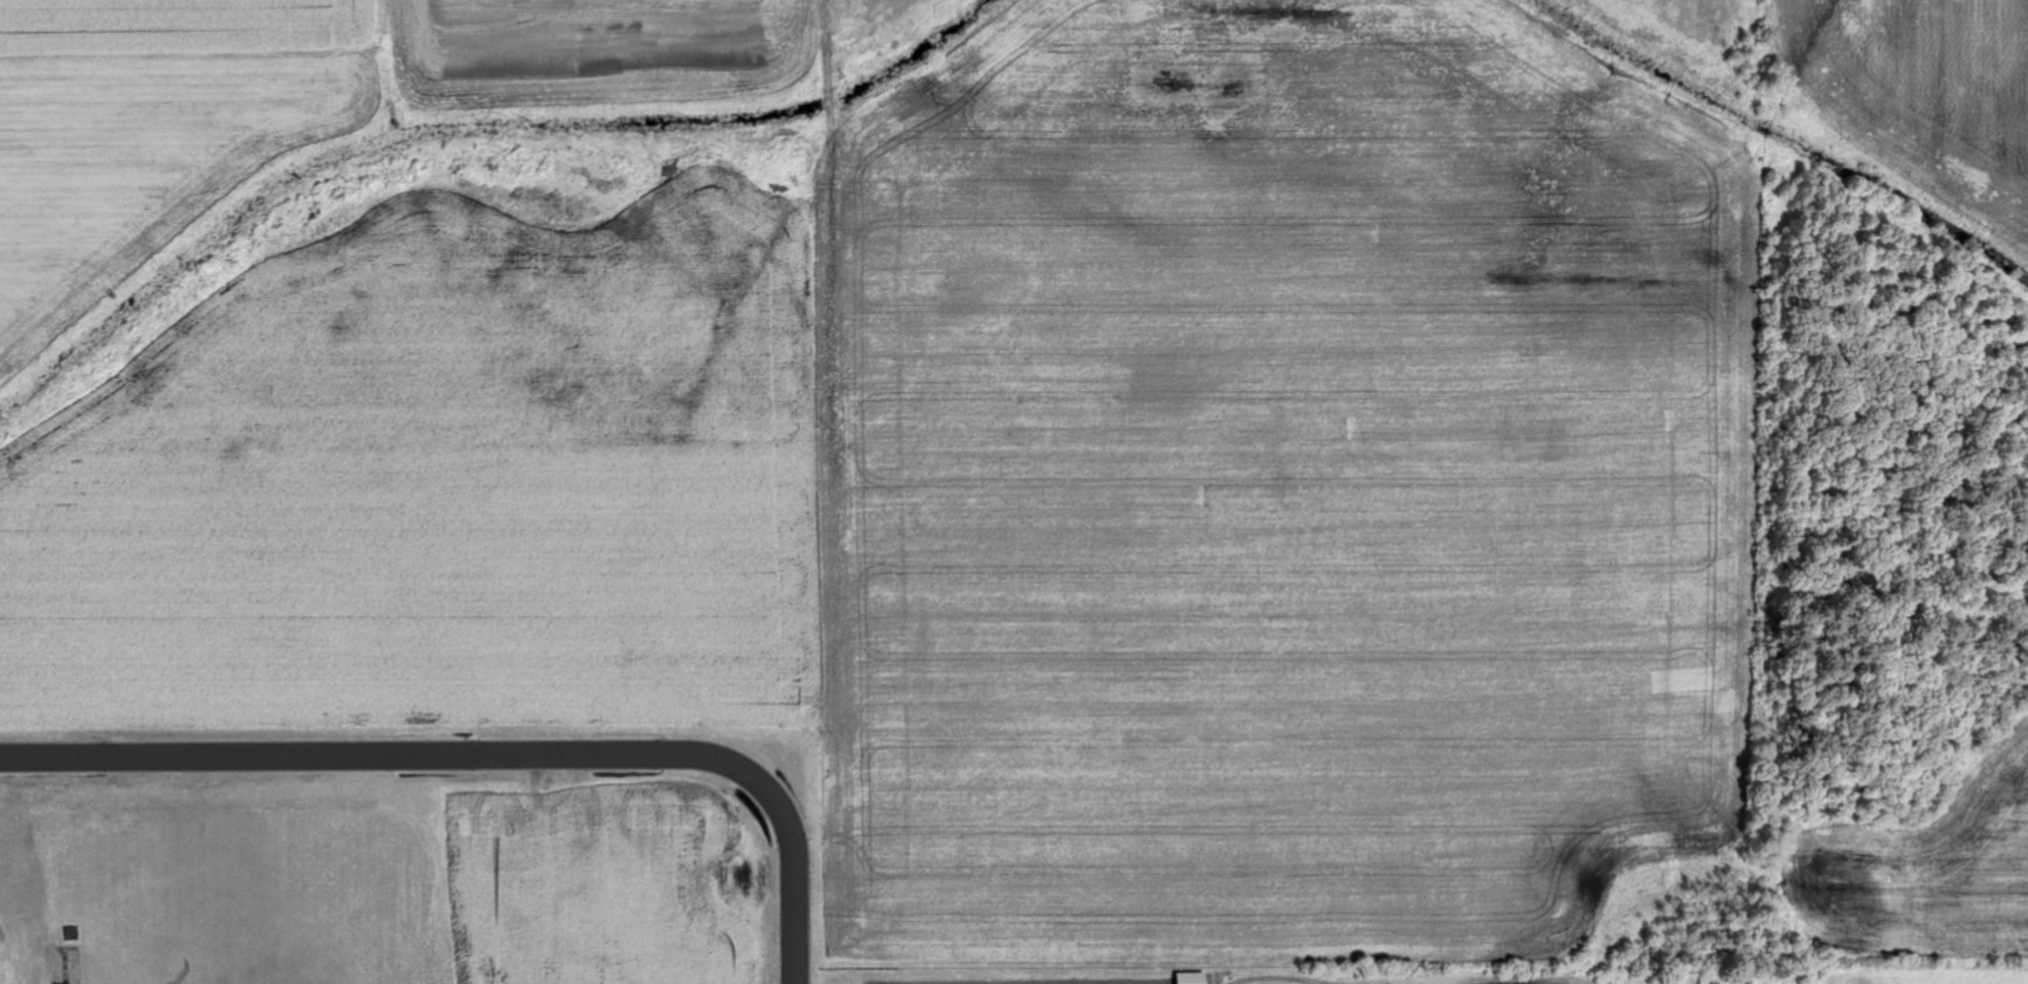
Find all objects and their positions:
road: (489, 751)

